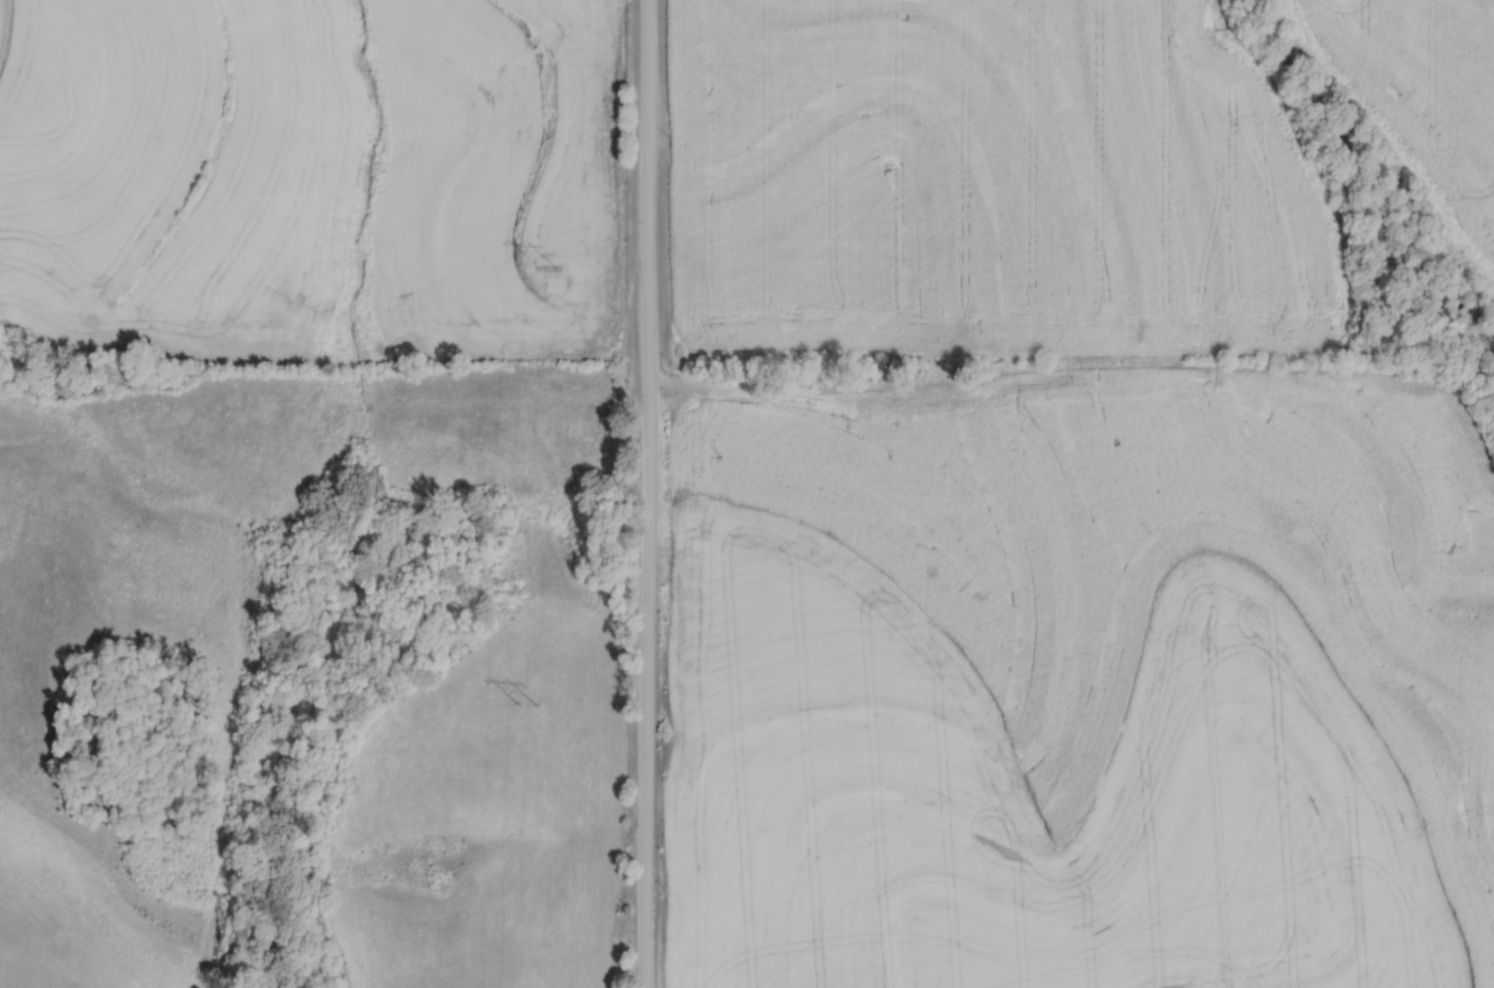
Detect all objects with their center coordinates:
power tower: (544, 268)
road: (648, 494)
power tower: (527, 700)

